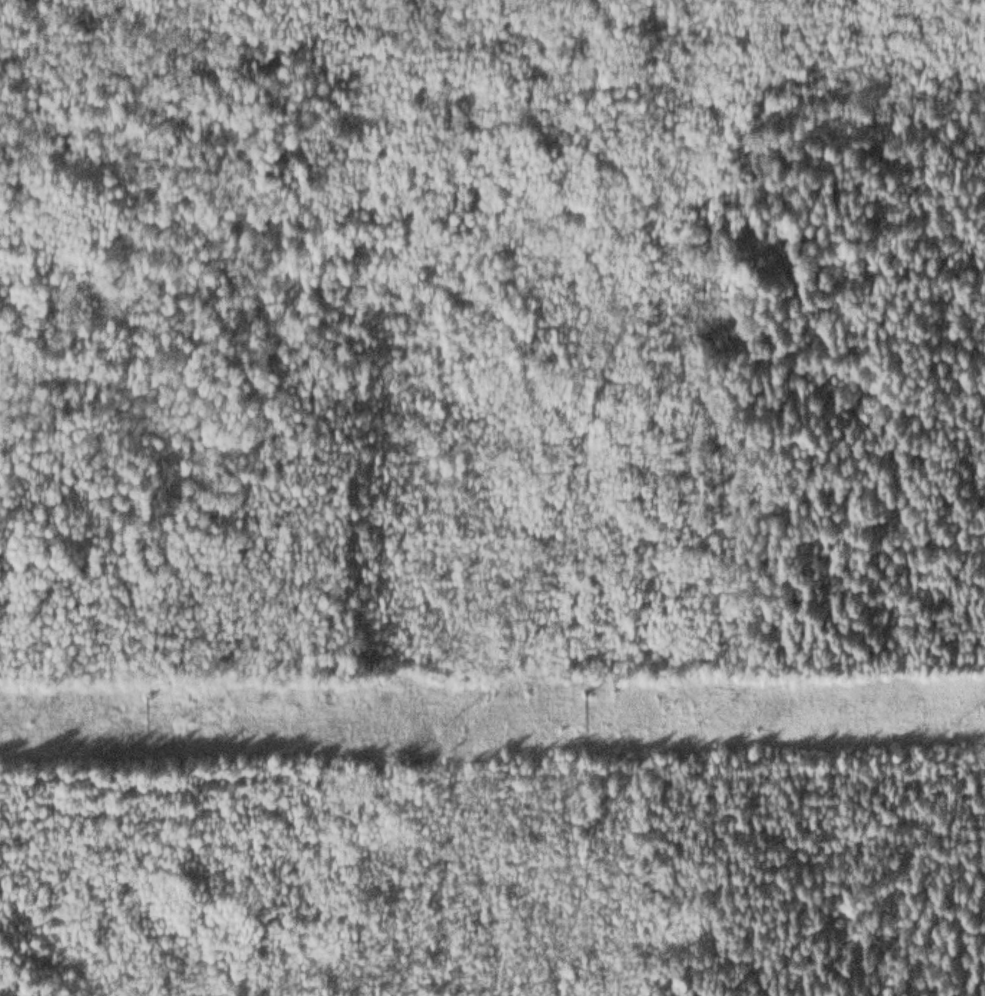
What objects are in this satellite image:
power tower: (570, 680)
power tower: (140, 689)
road: (617, 768)

